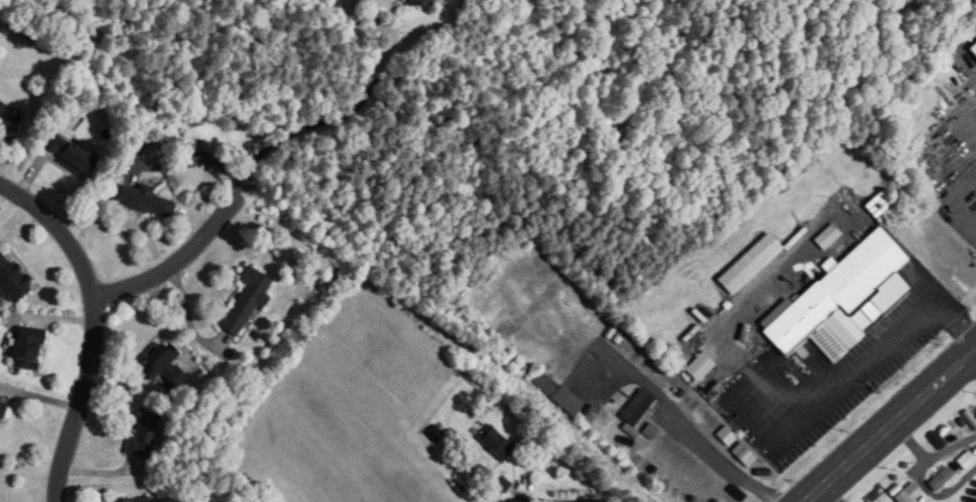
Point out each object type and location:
building: (422, 2)
building: (972, 51)
building: (3, 108)
road: (264, 155)
building: (76, 159)
building: (146, 201)
building: (753, 263)
building: (14, 279)
building: (846, 299)
building: (249, 300)
road: (94, 326)
road: (882, 346)
building: (31, 348)
building: (166, 366)
building: (702, 367)
building: (546, 382)
building: (570, 401)
building: (640, 407)
building: (3, 410)
building: (697, 413)
road: (888, 423)
road: (687, 427)
building: (144, 434)
road: (911, 440)
building: (498, 443)
building: (747, 453)
building: (964, 460)
road: (921, 477)
building: (939, 478)
building: (714, 496)
building: (138, 500)
road: (566, 500)

